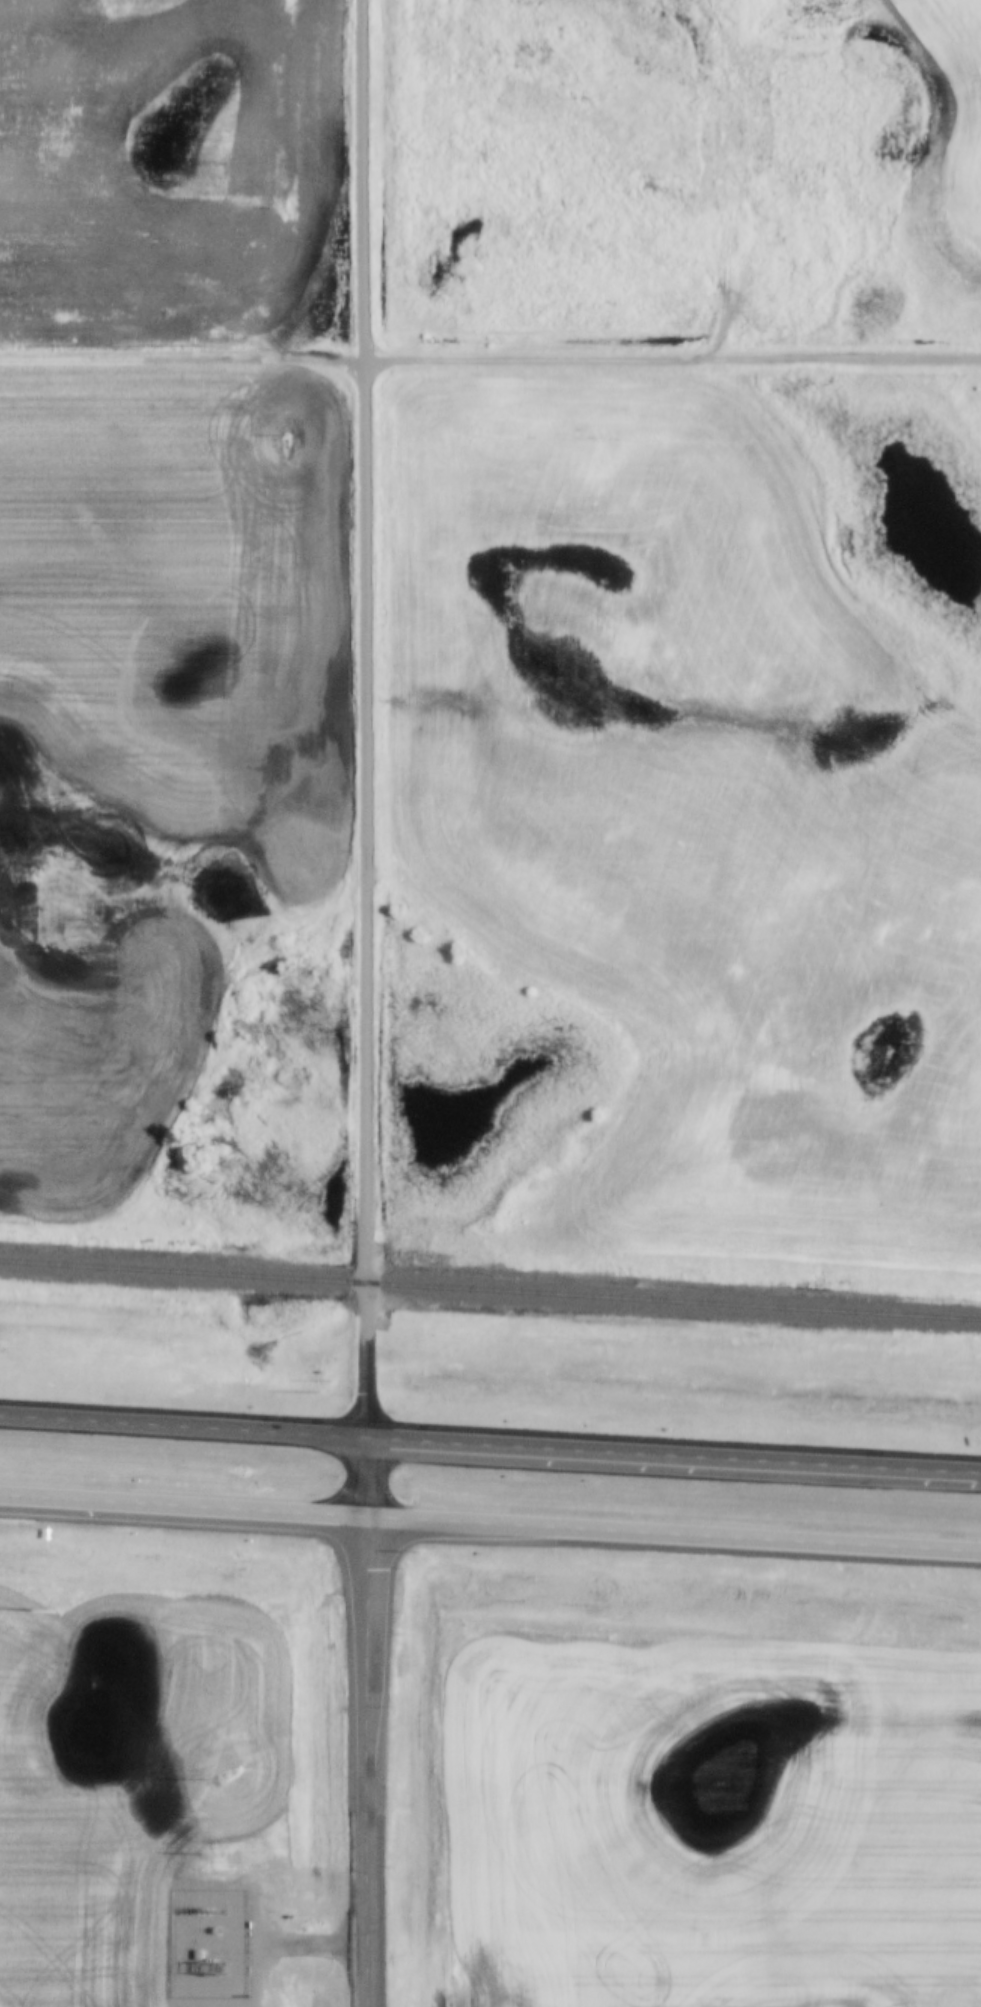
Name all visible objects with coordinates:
road: (490, 354)
road: (369, 718)
railway: (490, 1290)
road: (186, 1425)
road: (676, 1455)
road: (372, 1476)
road: (186, 1504)
road: (677, 1532)
road: (372, 1761)
power substation: (215, 1943)

